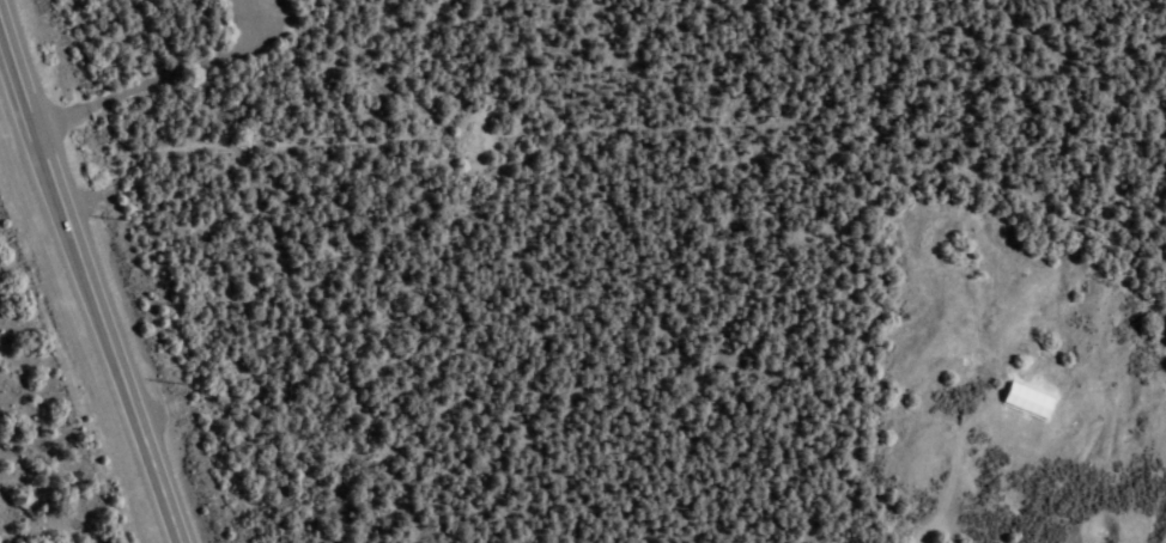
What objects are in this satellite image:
parking lot: (260, 19)
road: (939, 38)
road: (747, 41)
road: (164, 72)
road: (672, 85)
road: (86, 287)
road: (929, 526)

